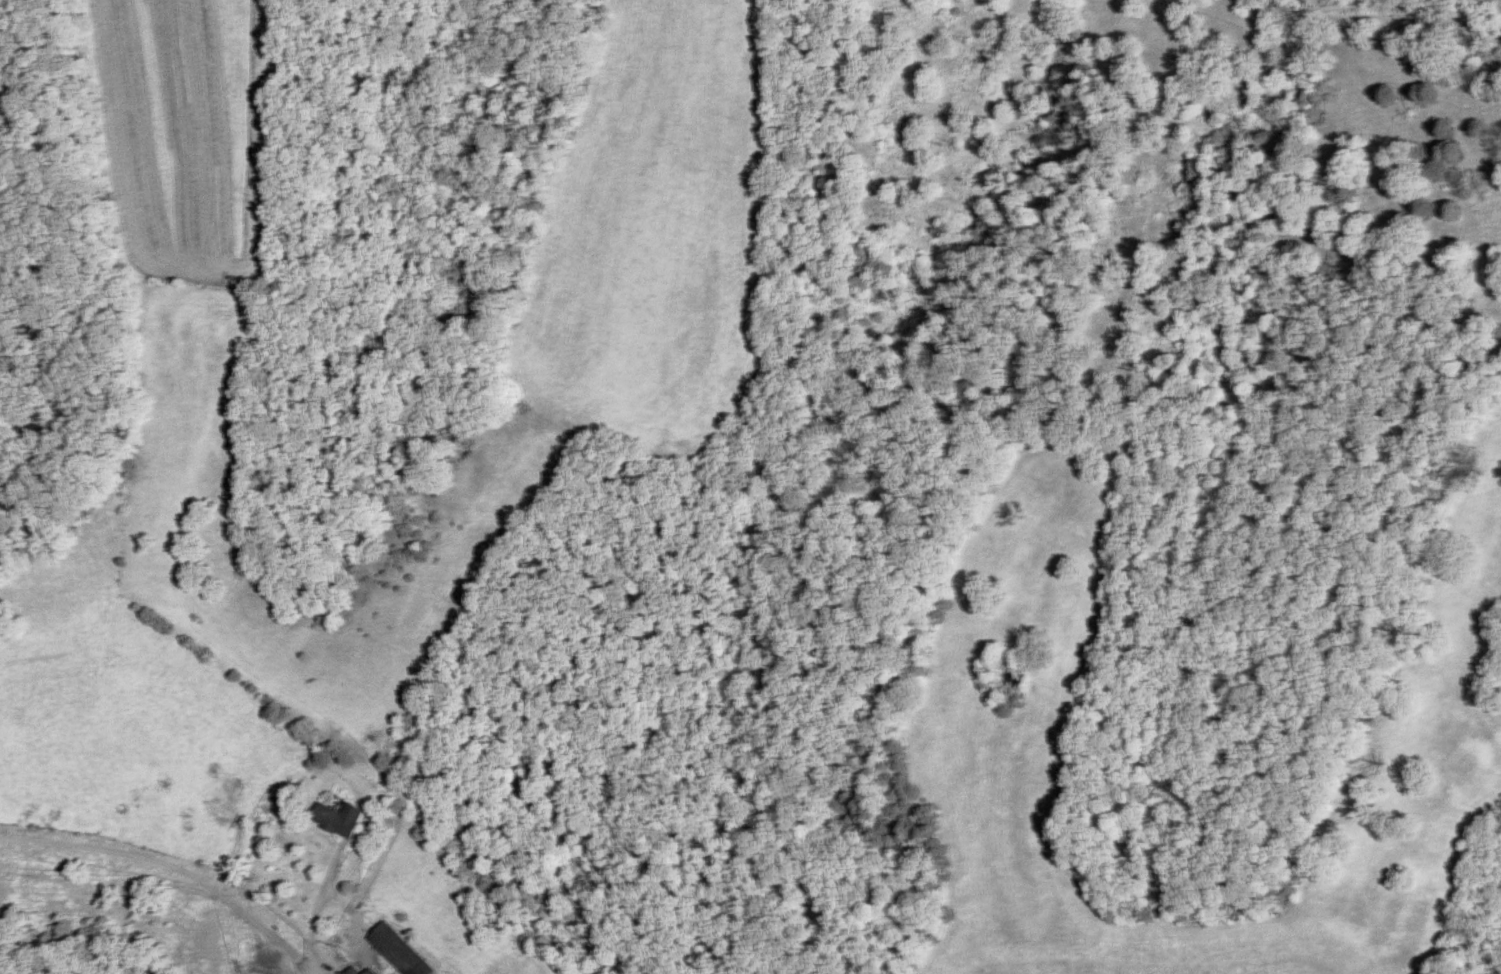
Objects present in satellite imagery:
building: (341, 818)
road: (180, 857)
road: (316, 907)
building: (399, 951)
building: (353, 971)
building: (369, 972)

